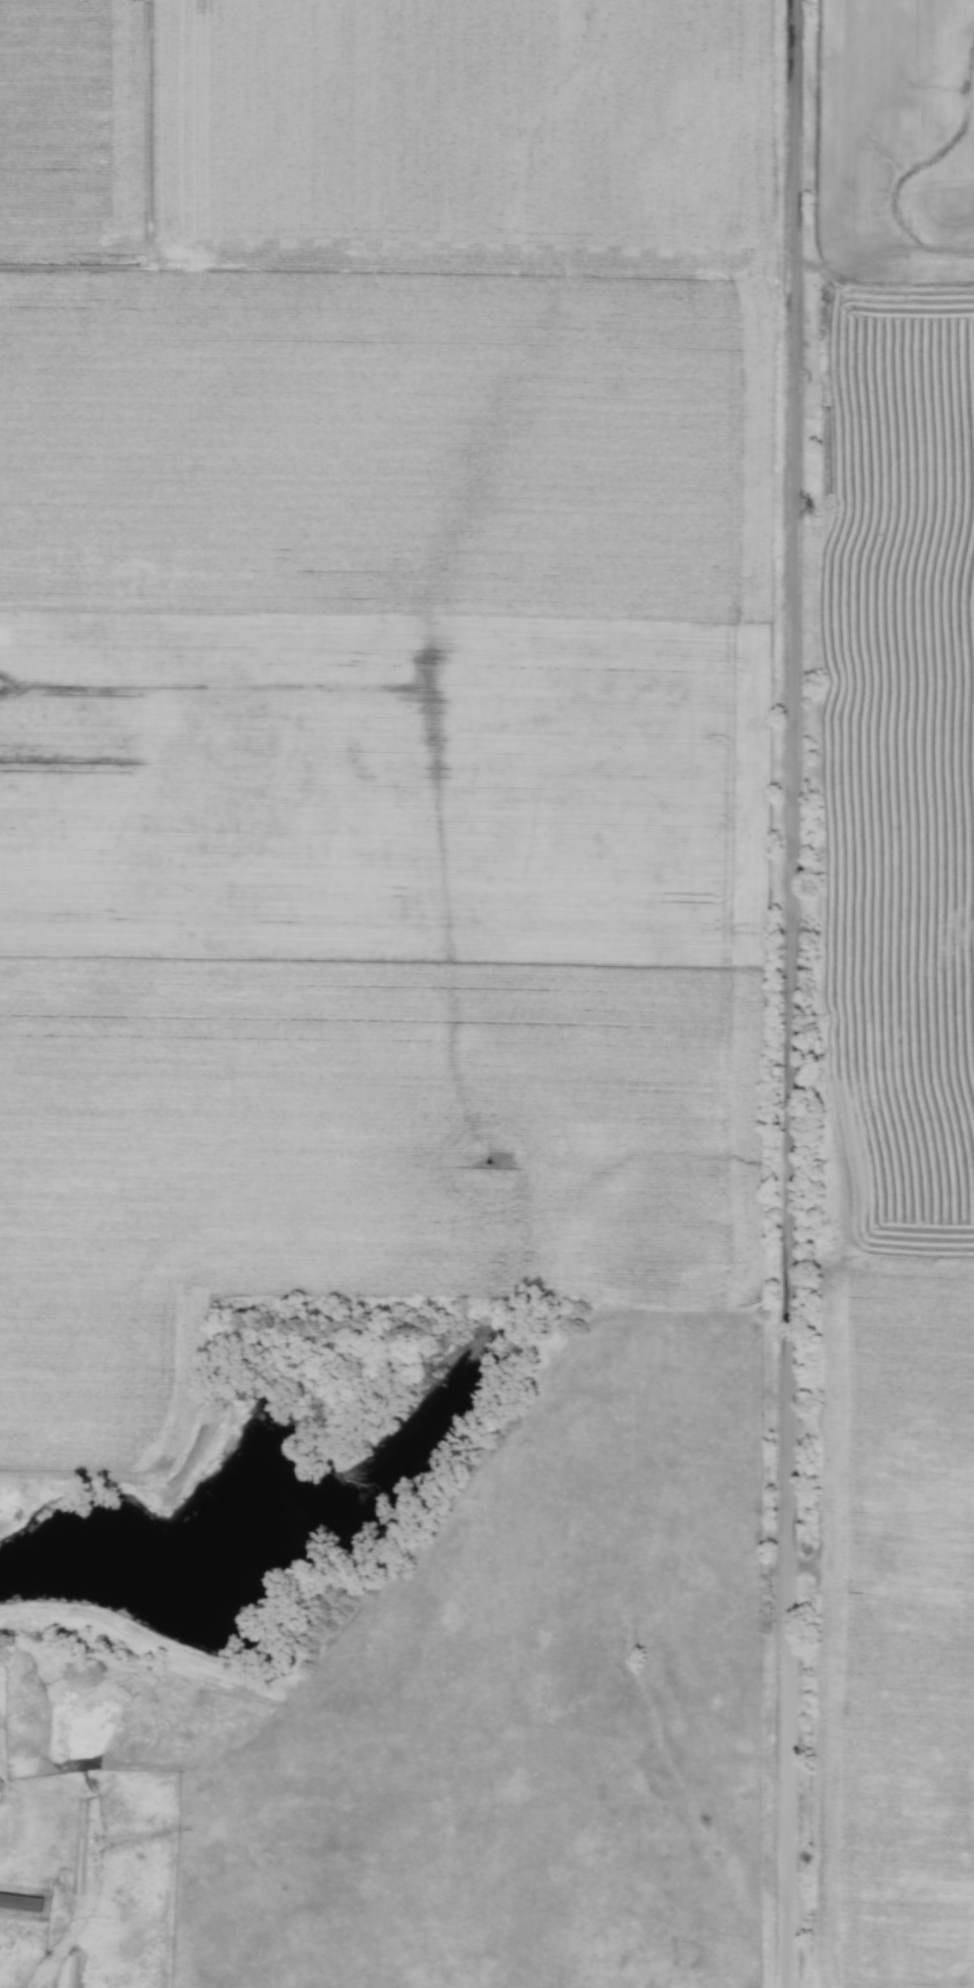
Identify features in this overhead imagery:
road: (790, 993)
building: (21, 1903)

